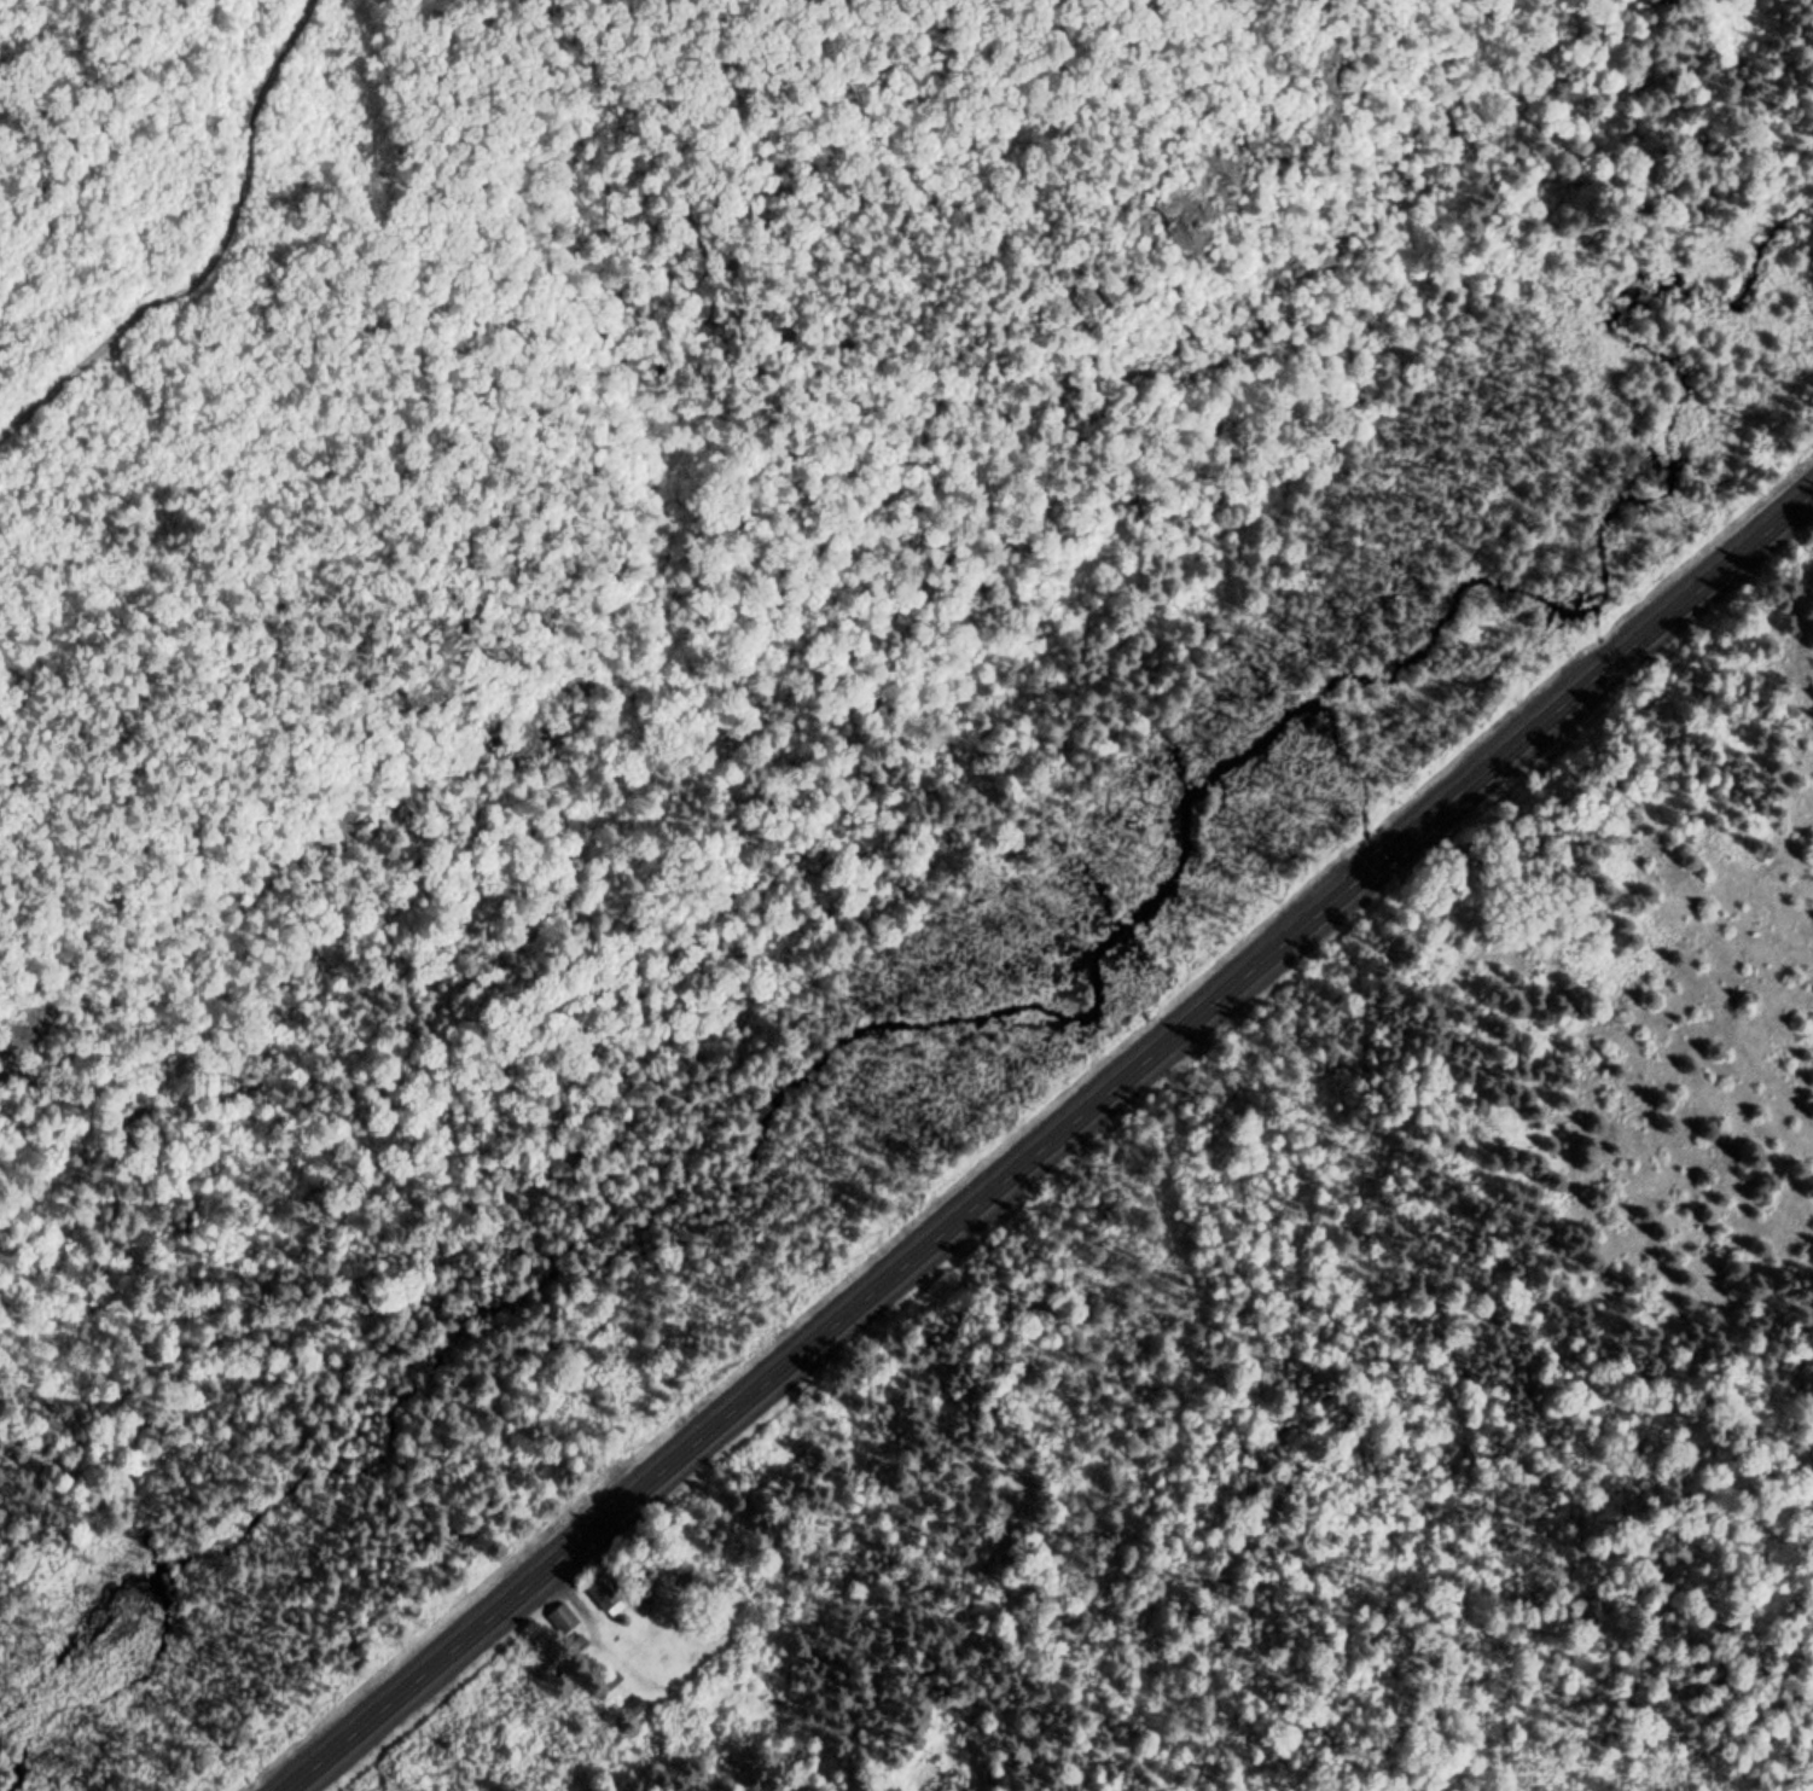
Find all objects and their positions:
river: (919, 1020)
road: (1048, 1140)
building: (603, 1597)
building: (562, 1621)

